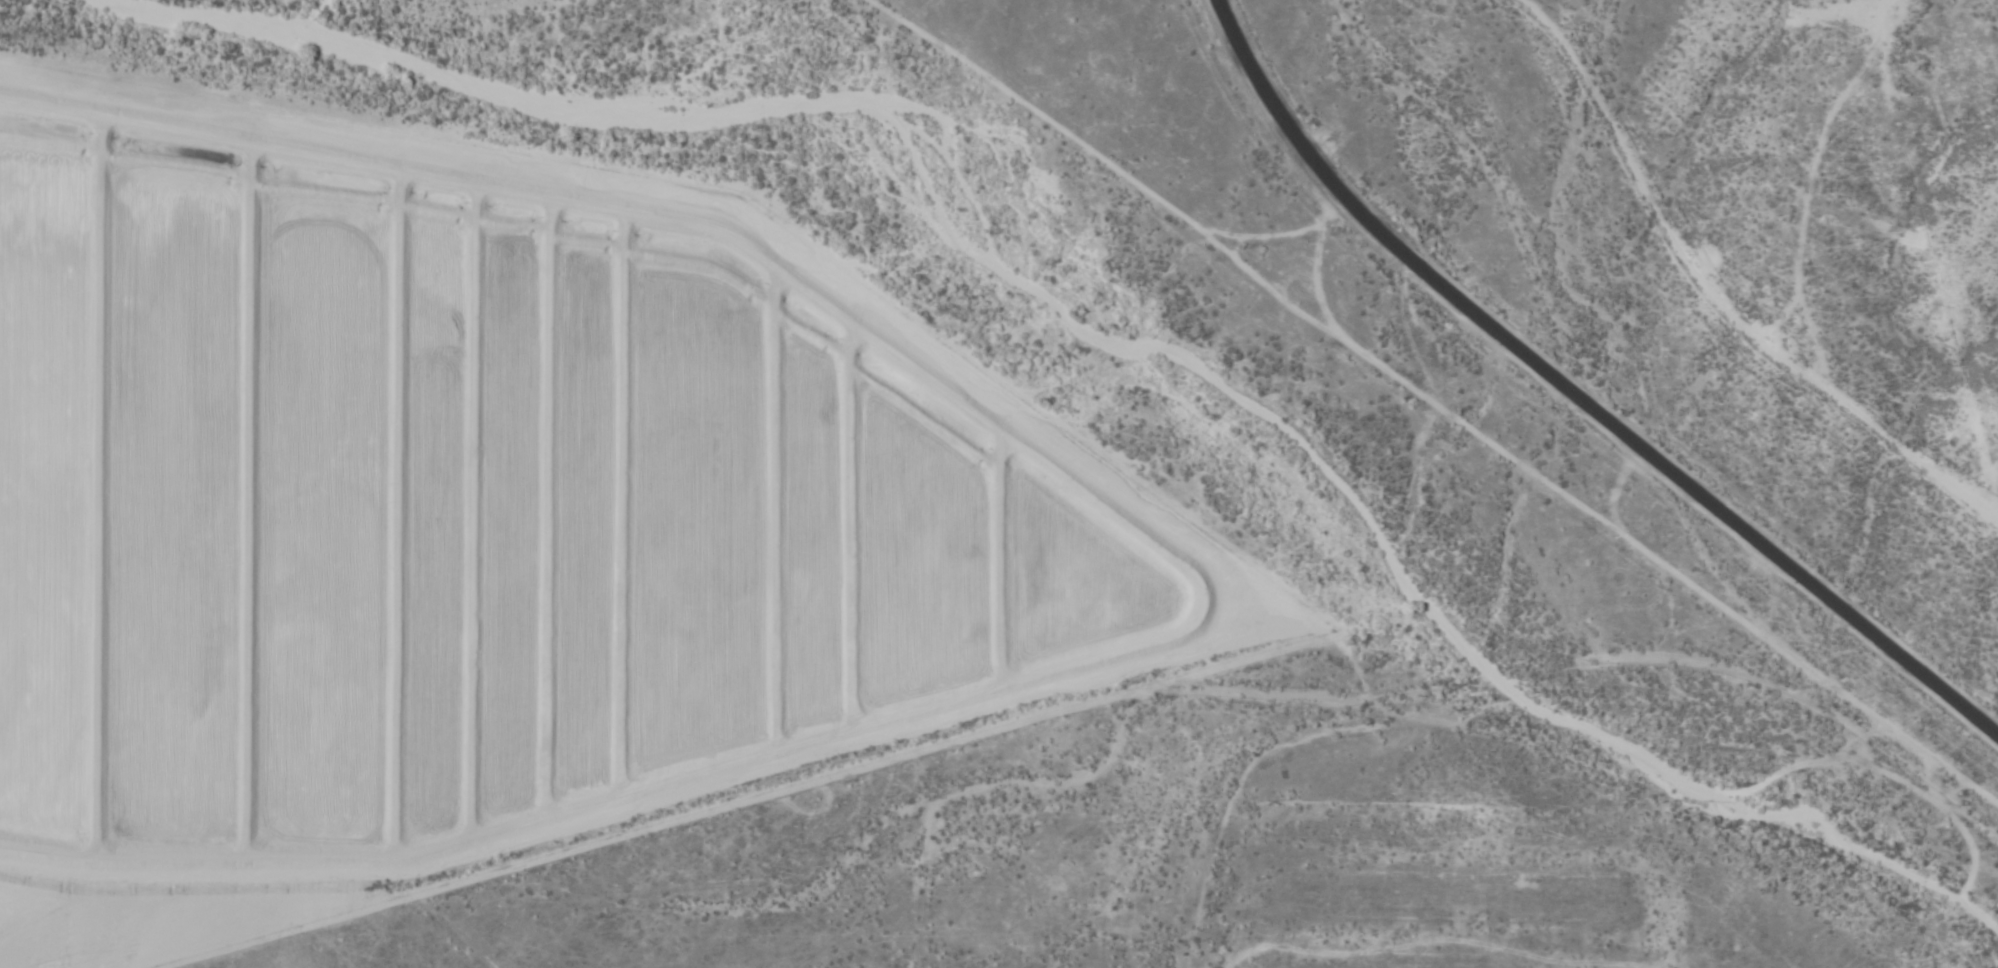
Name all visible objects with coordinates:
road: (1579, 395)

